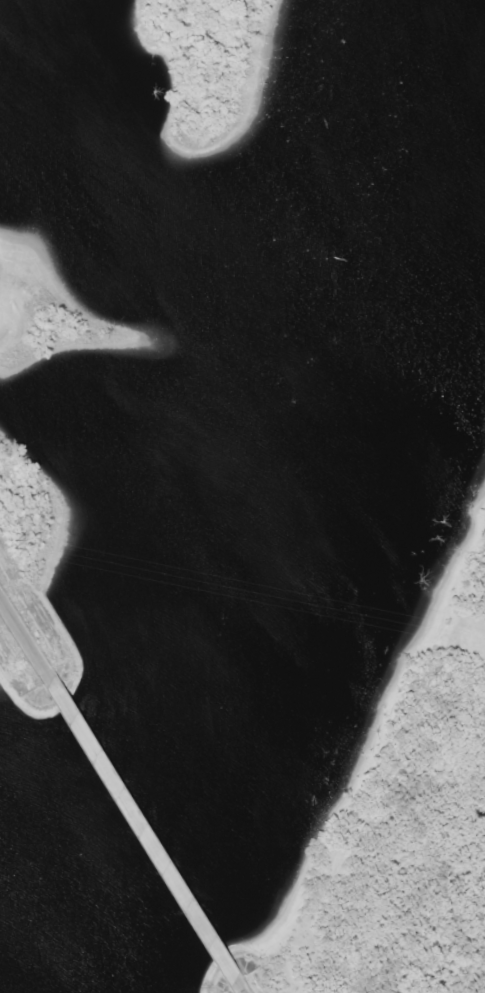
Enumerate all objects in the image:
river: (302, 522)
power tower: (7, 544)
road: (21, 638)
road: (136, 830)
road: (232, 987)

